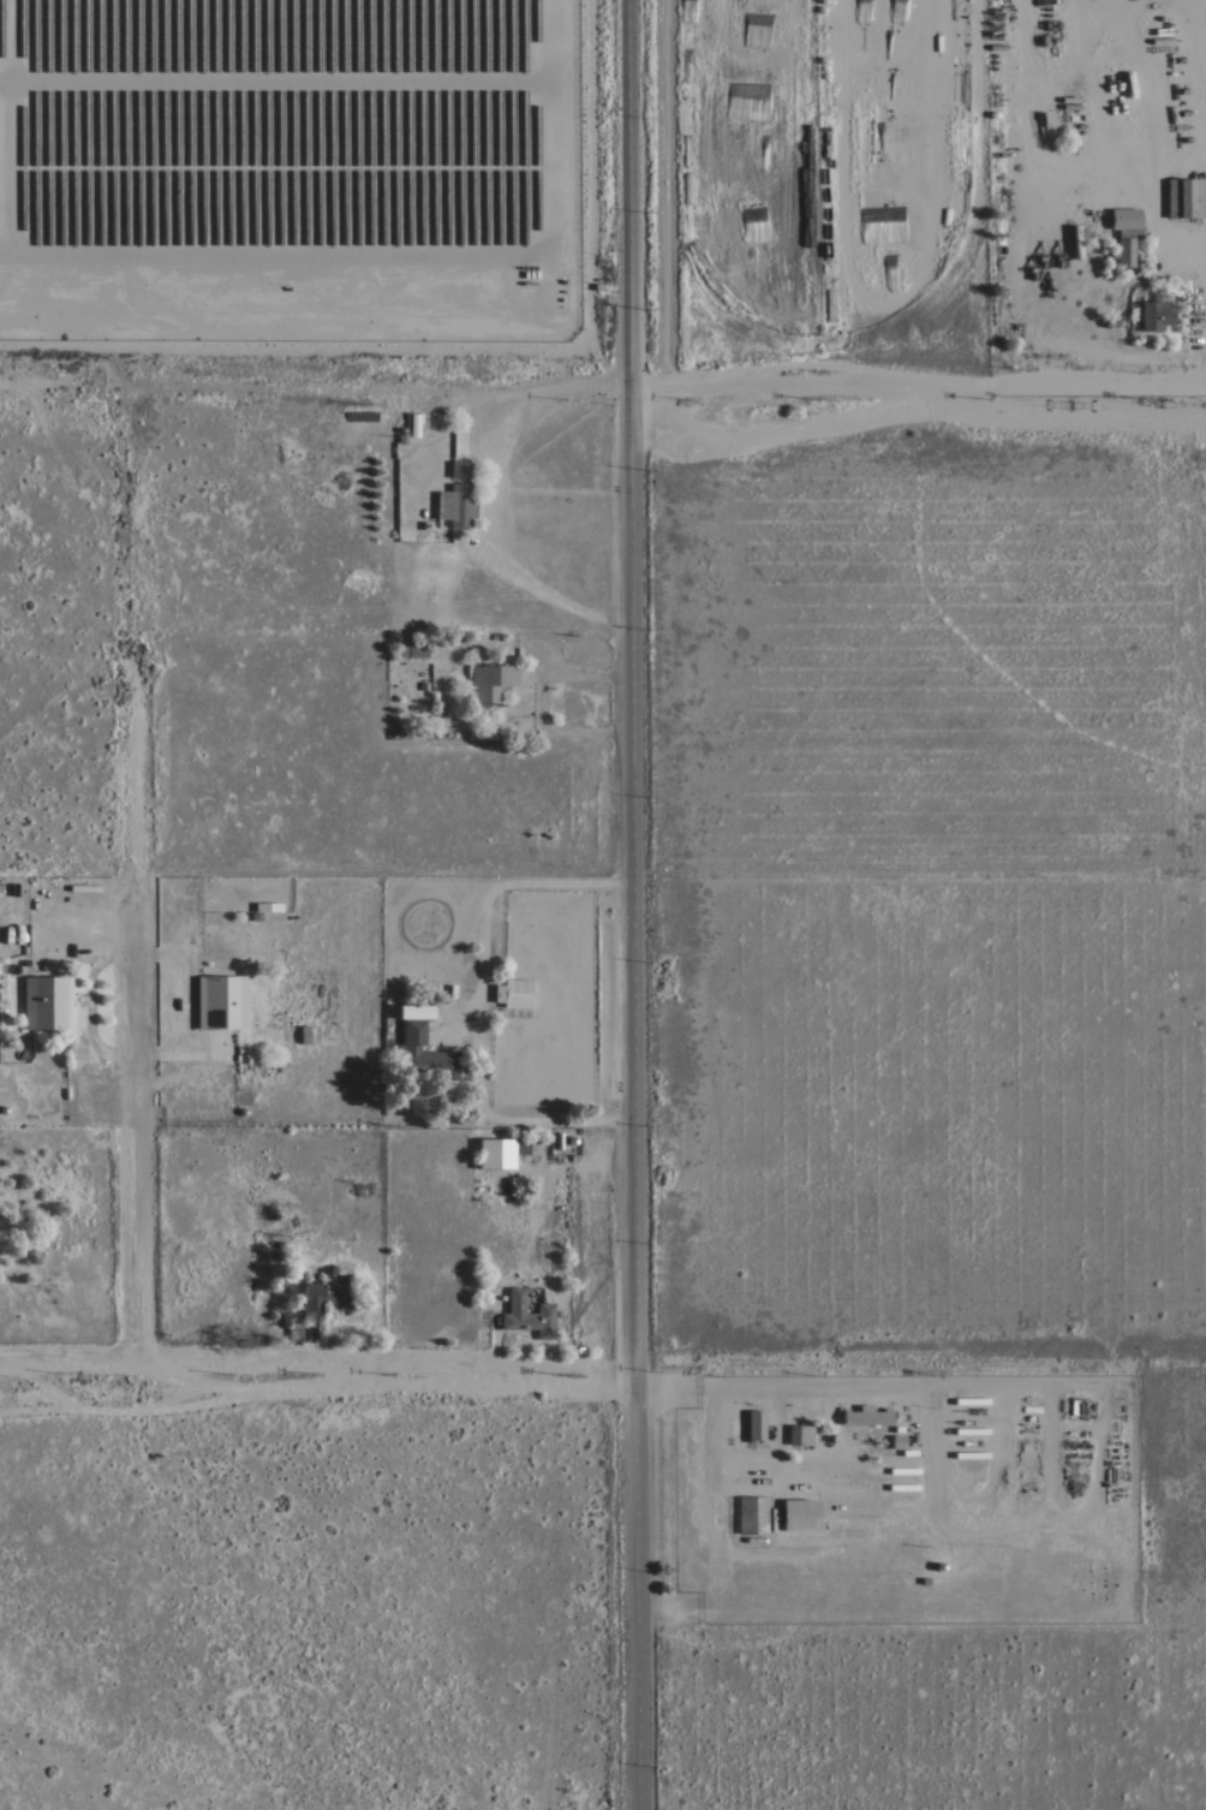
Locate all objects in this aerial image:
solar farm: (288, 169)
road: (1148, 190)
building: (1184, 197)
building: (1124, 218)
building: (1124, 251)
building: (1156, 315)
road: (918, 385)
building: (362, 416)
building: (413, 425)
building: (402, 437)
building: (461, 470)
road: (496, 498)
building: (456, 505)
building: (412, 650)
building: (489, 684)
road: (542, 705)
building: (16, 888)
building: (41, 893)
road: (634, 904)
building: (268, 906)
building: (513, 993)
building: (47, 1002)
building: (221, 1002)
road: (477, 1005)
building: (423, 1048)
road: (132, 1131)
building: (526, 1145)
building: (492, 1154)
building: (327, 1293)
building: (527, 1315)
building: (295, 1328)
road: (603, 1373)
building: (866, 1416)
building: (754, 1424)
building: (800, 1435)
building: (897, 1441)
building: (751, 1513)
building: (799, 1514)

